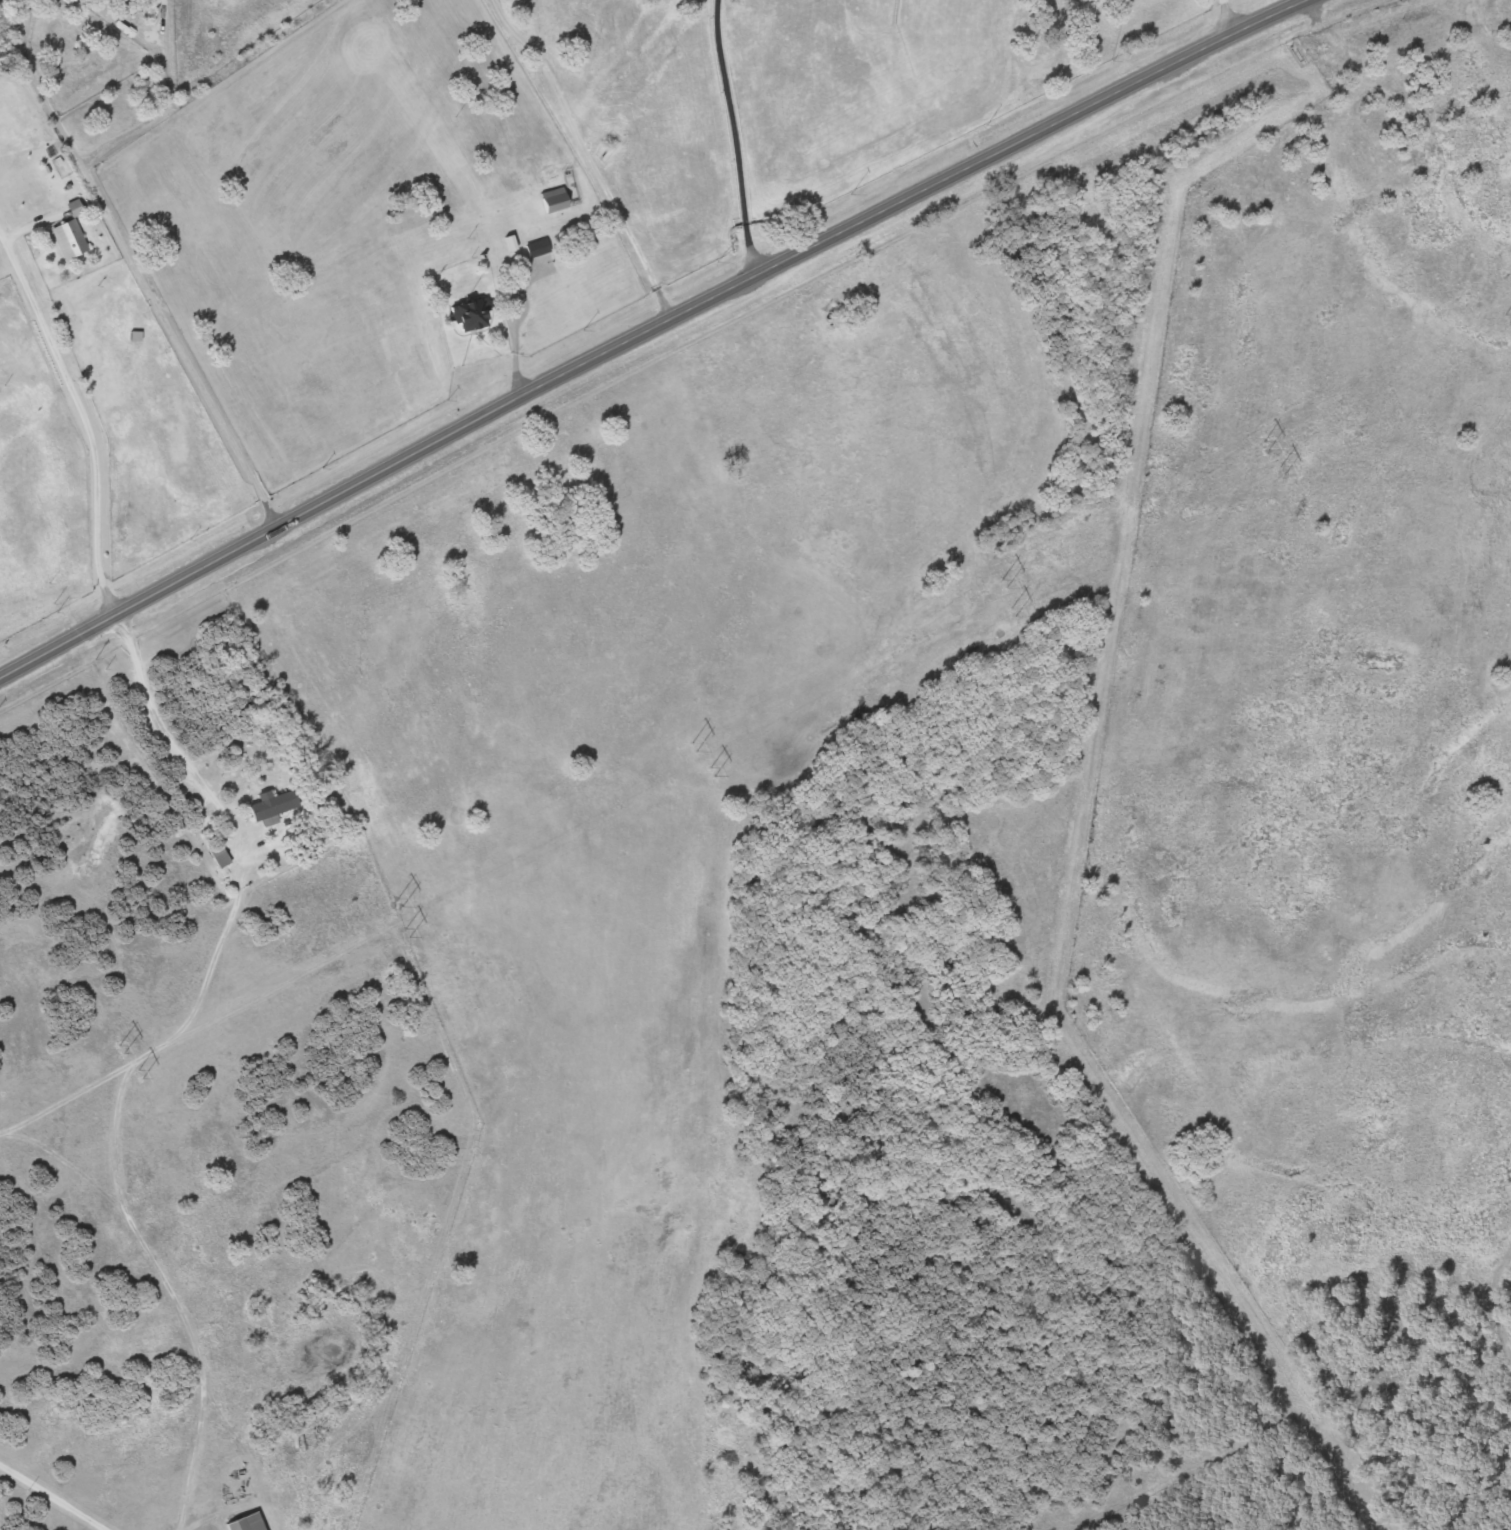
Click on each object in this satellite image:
road: (157, 17)
road: (1223, 17)
road: (156, 44)
road: (120, 132)
road: (727, 136)
road: (589, 153)
building: (548, 201)
building: (73, 241)
building: (533, 249)
road: (133, 269)
building: (467, 314)
road: (645, 325)
road: (516, 344)
building: (280, 805)
building: (224, 857)
road: (237, 883)
road: (52, 1497)
road: (138, 1503)
building: (239, 1523)

